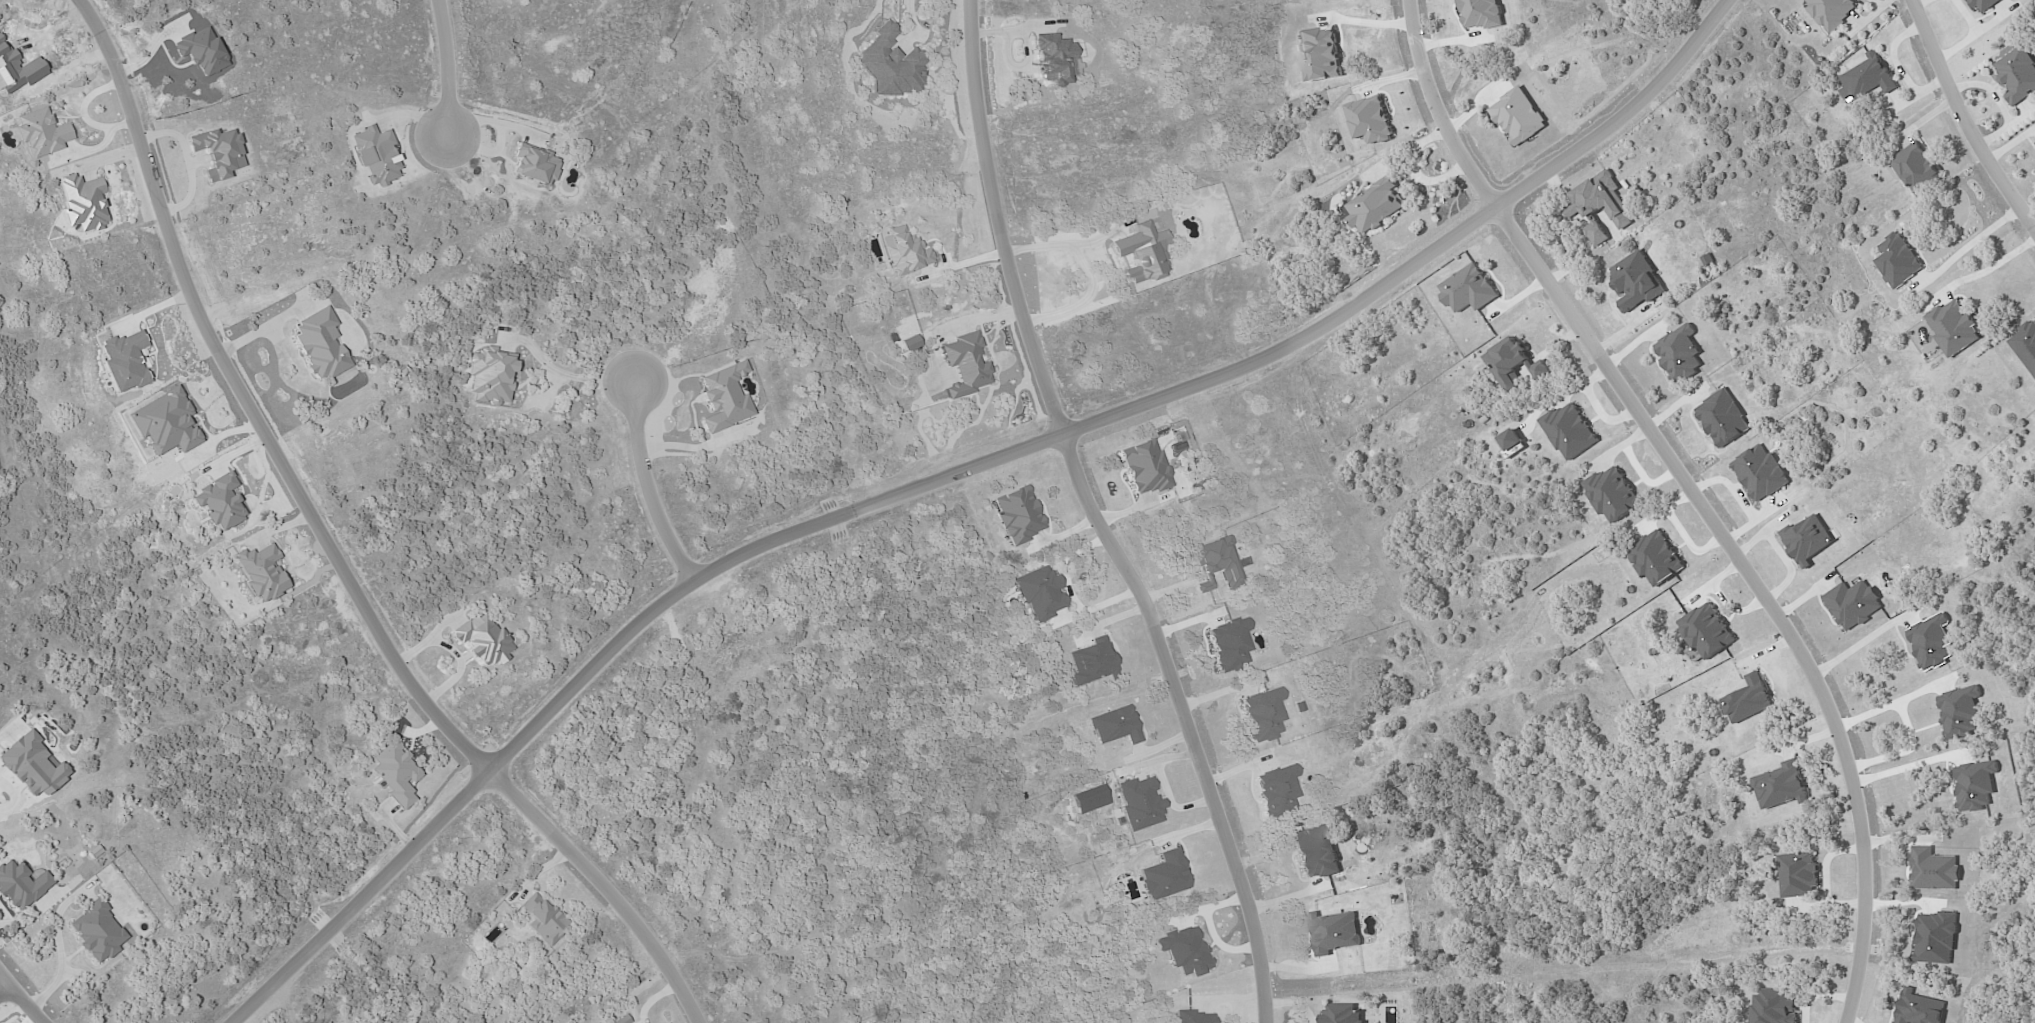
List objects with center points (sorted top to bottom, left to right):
building: (1983, 5)
building: (1831, 11)
road: (912, 13)
building: (1051, 59)
building: (889, 64)
road: (448, 68)
building: (2017, 74)
building: (1866, 78)
building: (1518, 115)
building: (1370, 120)
road: (1963, 121)
building: (40, 133)
building: (217, 152)
building: (375, 155)
road: (187, 162)
building: (535, 165)
building: (1916, 168)
building: (82, 203)
building: (1375, 205)
building: (1599, 205)
road: (1971, 244)
building: (902, 252)
building: (1141, 253)
building: (1897, 260)
road: (960, 265)
road: (1089, 269)
road: (1985, 270)
building: (1636, 282)
building: (1469, 288)
building: (1953, 327)
building: (909, 343)
building: (319, 345)
building: (2026, 345)
building: (1680, 354)
building: (124, 361)
building: (1513, 363)
building: (963, 365)
road: (574, 375)
building: (489, 377)
building: (723, 398)
building: (1723, 418)
building: (164, 423)
building: (1569, 430)
building: (1512, 442)
building: (1144, 467)
building: (1761, 473)
road: (954, 474)
road: (648, 486)
building: (1612, 493)
road: (1694, 493)
building: (219, 503)
building: (1017, 515)
road: (1094, 518)
building: (1807, 539)
road: (329, 547)
building: (1656, 557)
building: (1217, 564)
building: (260, 572)
building: (1039, 593)
building: (1853, 603)
building: (1706, 630)
building: (482, 640)
building: (1931, 641)
road: (1859, 642)
building: (1229, 644)
building: (1089, 662)
building: (1749, 699)
building: (1959, 712)
building: (1263, 714)
road: (1907, 725)
building: (1113, 726)
road: (1905, 768)
building: (395, 774)
building: (1975, 784)
building: (1781, 786)
building: (1276, 790)
road: (16, 796)
building: (1138, 803)
building: (1315, 851)
building: (1934, 870)
building: (1798, 874)
building: (1163, 876)
building: (20, 884)
building: (542, 920)
building: (96, 931)
building: (1335, 931)
building: (1935, 938)
building: (1183, 951)
road: (4, 986)
road: (20, 998)
building: (1774, 1007)
building: (1919, 1008)
building: (1344, 1014)
building: (1194, 1017)
building: (622, 1020)

